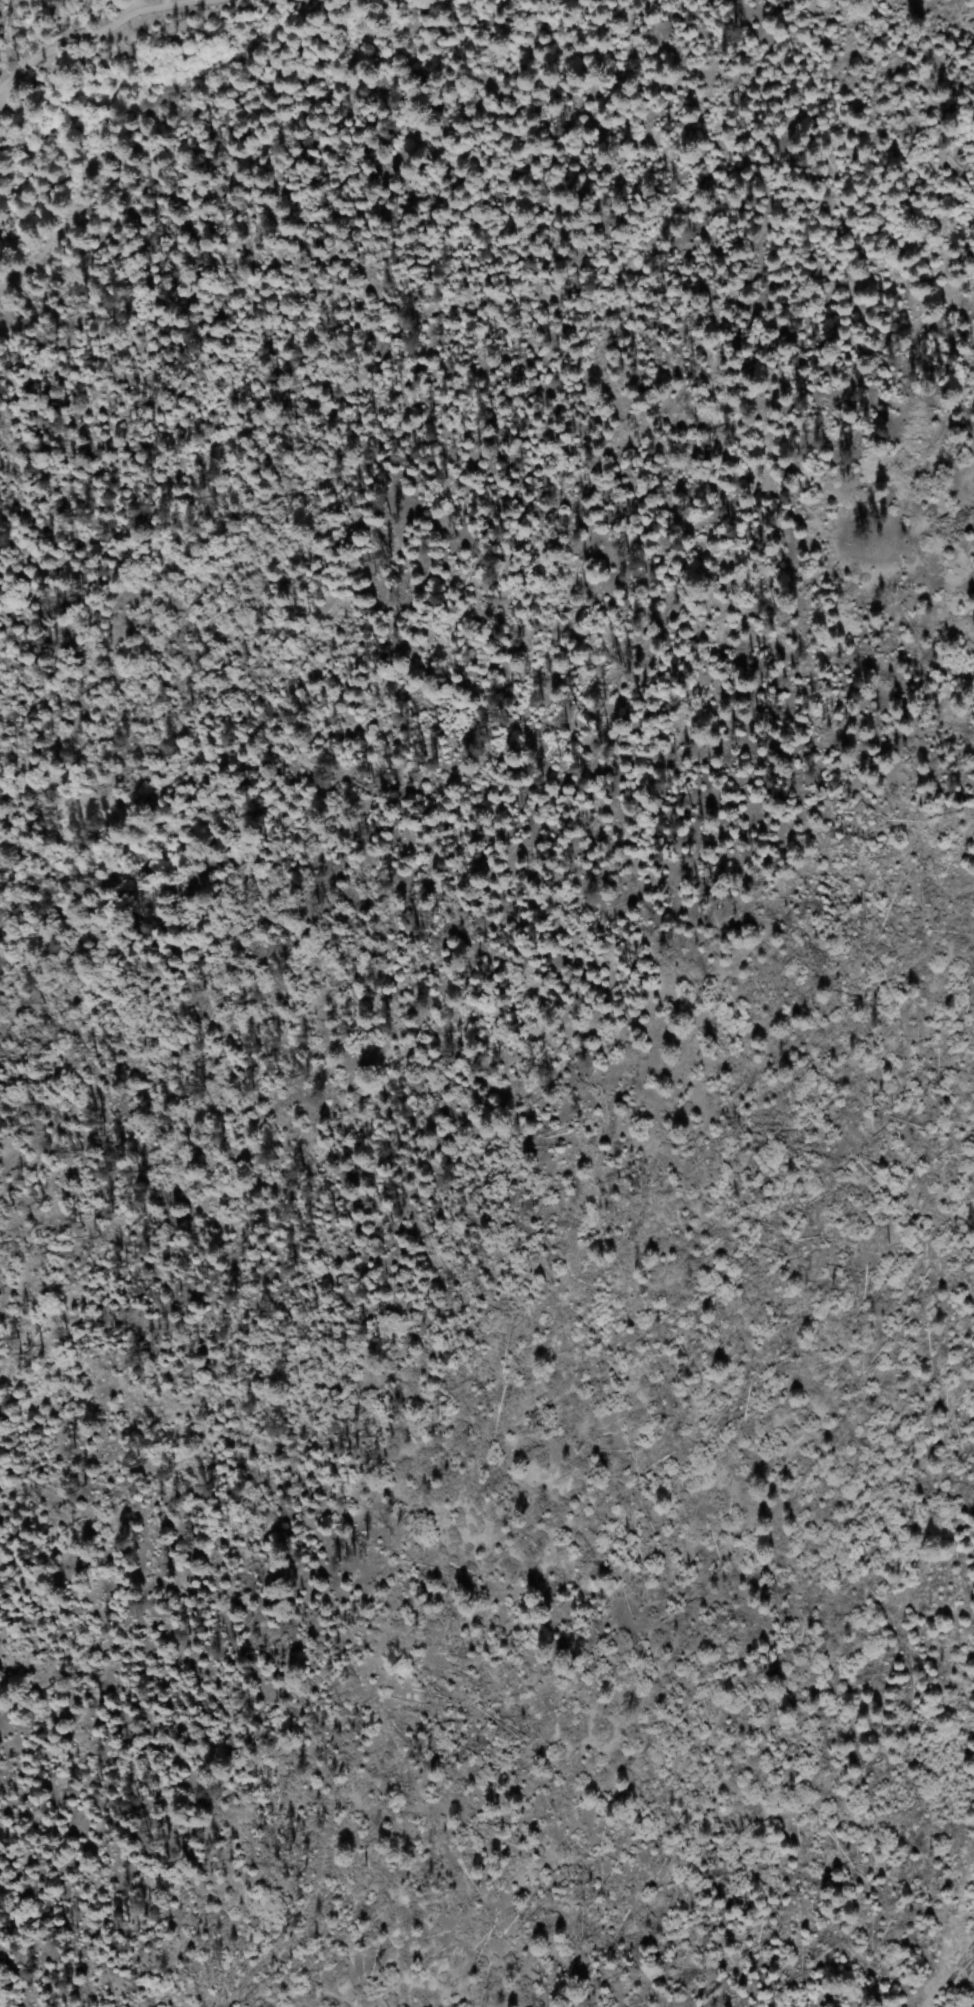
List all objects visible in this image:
road: (84, 46)
road: (86, 193)

